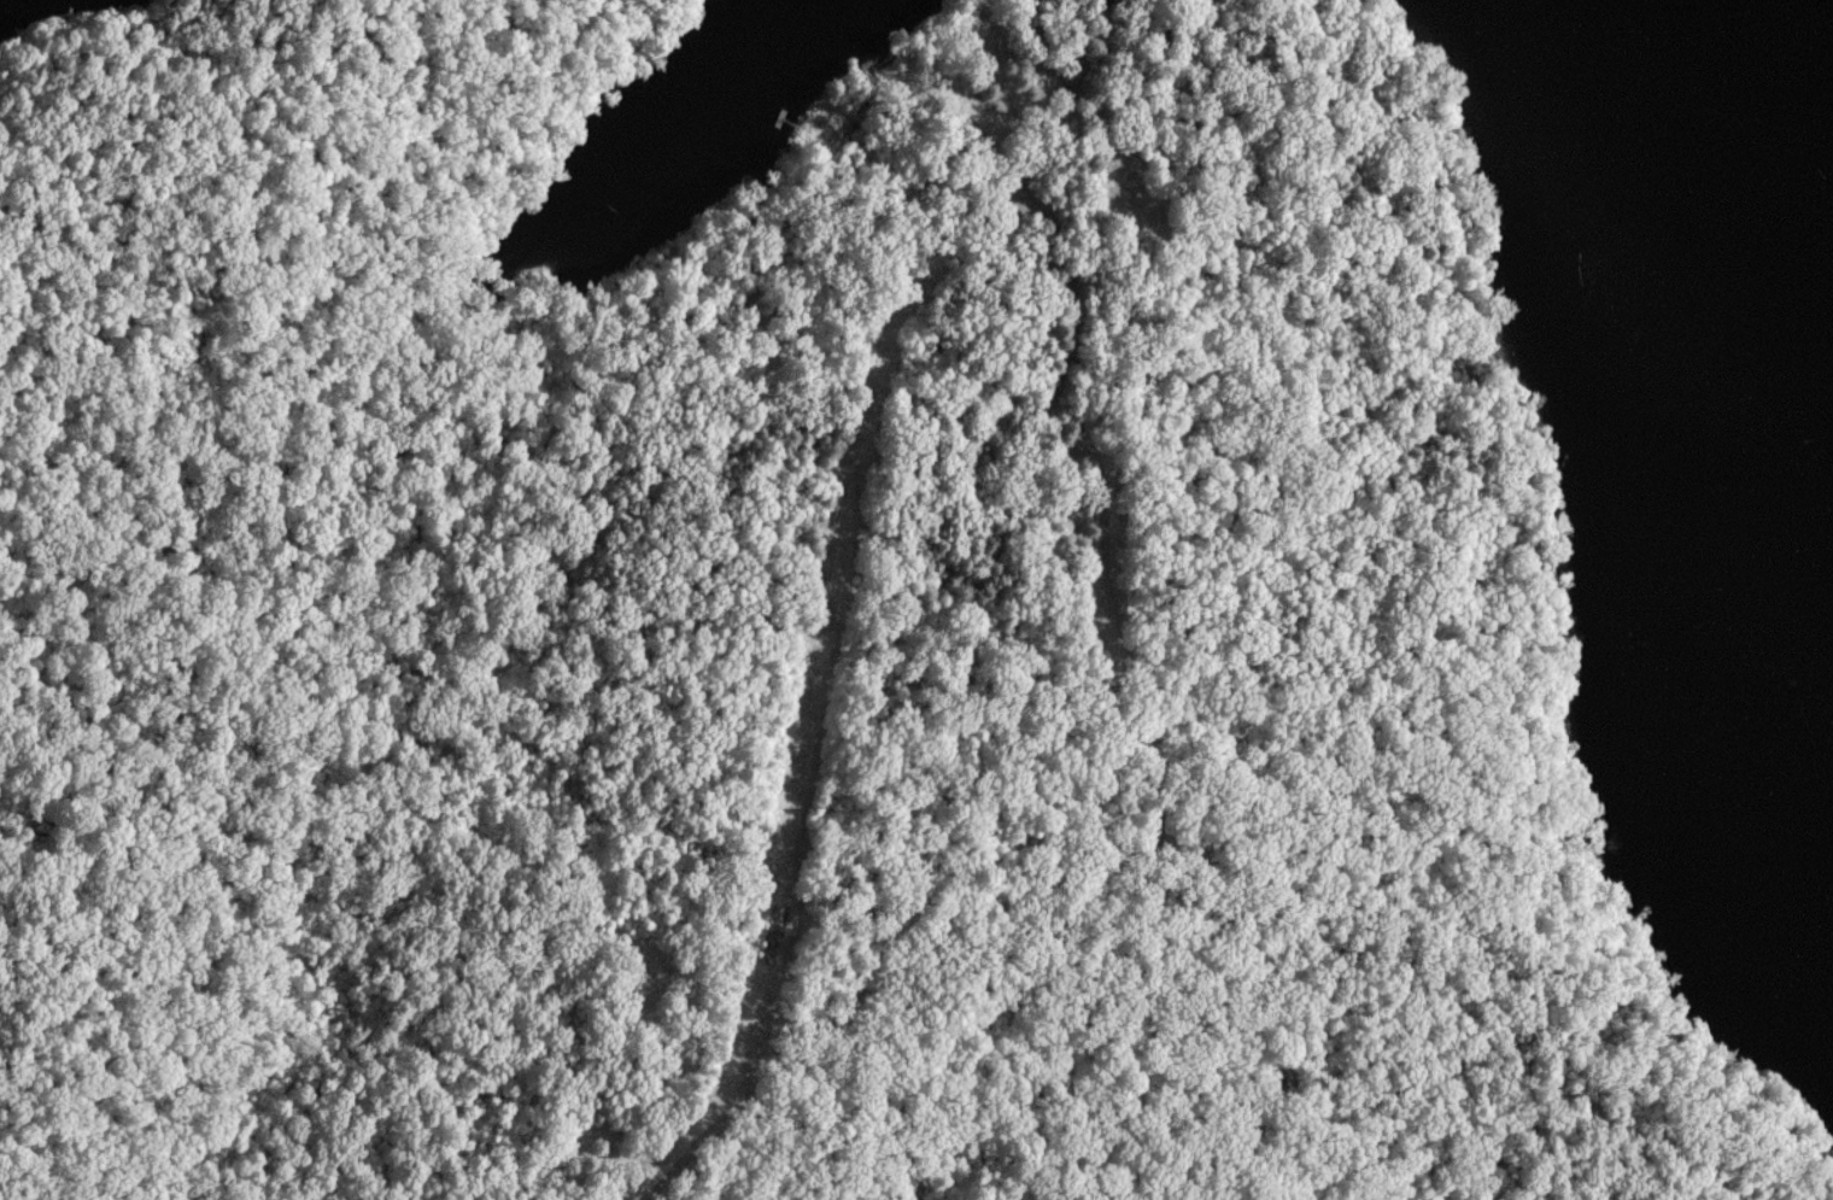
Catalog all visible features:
river: (1817, 33)
building: (1167, 40)
road: (1142, 716)

